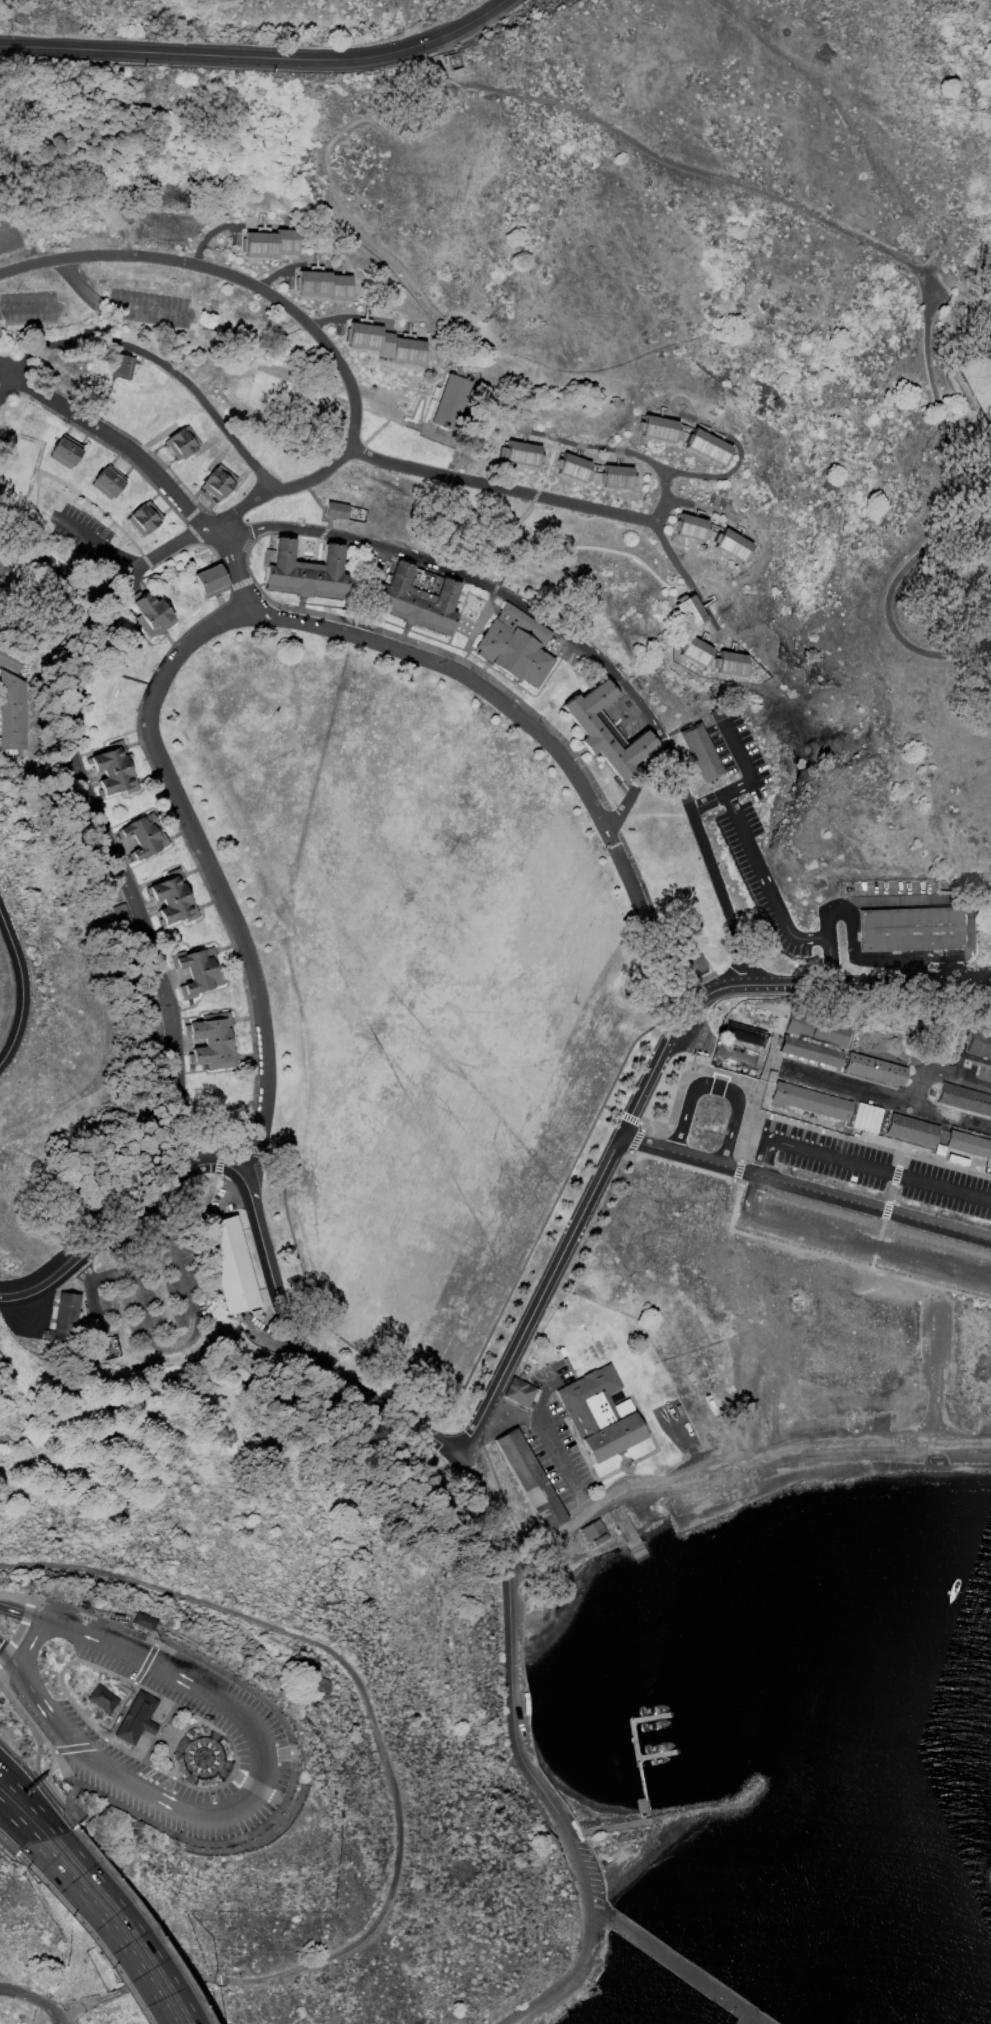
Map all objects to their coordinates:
road: (261, 57)
road: (336, 202)
road: (8, 230)
parking lot: (9, 233)
building: (271, 244)
road: (899, 258)
road: (229, 274)
road: (78, 284)
building: (326, 286)
parking lot: (146, 305)
parking lot: (28, 306)
road: (29, 306)
road: (145, 310)
road: (949, 317)
building: (388, 345)
building: (175, 355)
road: (159, 365)
building: (124, 367)
building: (977, 382)
road: (9, 384)
road: (370, 394)
road: (423, 395)
parking lot: (387, 403)
building: (456, 404)
road: (399, 416)
road: (394, 418)
road: (424, 427)
building: (661, 428)
building: (182, 443)
road: (116, 444)
building: (711, 447)
road: (621, 450)
building: (66, 454)
building: (525, 454)
building: (577, 467)
road: (414, 471)
building: (620, 476)
building: (106, 480)
building: (220, 483)
building: (335, 509)
building: (144, 518)
building: (689, 526)
road: (99, 538)
building: (731, 544)
road: (669, 551)
road: (137, 569)
building: (306, 573)
road: (236, 576)
road: (473, 580)
building: (213, 581)
building: (419, 602)
building: (687, 610)
building: (151, 612)
road: (36, 623)
building: (515, 643)
building: (693, 650)
building: (10, 661)
building: (730, 662)
road: (113, 673)
building: (12, 713)
road: (539, 732)
building: (607, 733)
building: (704, 754)
road: (748, 769)
building: (114, 771)
road: (637, 793)
building: (144, 838)
road: (708, 865)
road: (210, 874)
road: (132, 892)
building: (173, 899)
road: (772, 903)
building: (911, 931)
building: (691, 963)
building: (198, 973)
road: (854, 981)
road: (23, 985)
building: (151, 1023)
building: (744, 1035)
building: (815, 1041)
building: (980, 1043)
building: (209, 1045)
building: (877, 1071)
road: (721, 1087)
road: (760, 1096)
building: (964, 1100)
building: (811, 1103)
building: (865, 1116)
building: (913, 1132)
building: (969, 1146)
parking lot: (826, 1153)
road: (222, 1166)
road: (759, 1184)
road: (806, 1187)
parking lot: (949, 1188)
road: (890, 1209)
road: (582, 1218)
parking lot: (866, 1242)
road: (98, 1246)
building: (229, 1263)
road: (186, 1304)
road: (90, 1307)
building: (62, 1318)
park: (589, 1343)
parking lot: (934, 1346)
building: (561, 1350)
road: (314, 1354)
building: (523, 1367)
park: (547, 1369)
parking lot: (550, 1374)
road: (935, 1374)
building: (519, 1375)
park: (660, 1375)
building: (517, 1390)
building: (536, 1390)
road: (540, 1394)
building: (530, 1401)
building: (600, 1413)
road: (513, 1414)
parking lot: (677, 1425)
road: (650, 1433)
road: (687, 1441)
road: (579, 1442)
road: (623, 1454)
parking lot: (809, 1454)
parking lot: (560, 1458)
road: (565, 1462)
road: (738, 1463)
flagpole: (628, 1464)
road: (632, 1470)
flagpole: (658, 1472)
road: (609, 1474)
building: (528, 1477)
road: (500, 1492)
road: (486, 1513)
road: (627, 1526)
building: (592, 1530)
road: (513, 1608)
road: (12, 1610)
road: (24, 1615)
building: (143, 1620)
road: (46, 1622)
road: (29, 1646)
road: (2, 1648)
road: (149, 1656)
road: (86, 1663)
road: (20, 1671)
road: (516, 1692)
building: (102, 1698)
road: (363, 1698)
road: (26, 1711)
pier: (650, 1716)
building: (136, 1718)
parking lot: (244, 1722)
pier: (634, 1738)
road: (38, 1745)
road: (216, 1747)
pier: (656, 1754)
road: (63, 1769)
road: (143, 1775)
road: (640, 1776)
road: (7, 1777)
road: (47, 1779)
road: (7, 1780)
road: (75, 1783)
road: (164, 1785)
road: (292, 1785)
road: (255, 1789)
road: (92, 1791)
road: (68, 1799)
building: (638, 1804)
road: (707, 1807)
road: (36, 1809)
pier: (642, 1817)
road: (14, 1818)
road: (70, 1819)
road: (14, 1824)
road: (31, 1836)
road: (605, 1838)
road: (7, 1844)
parking lot: (590, 1870)
road: (586, 1889)
road: (145, 1923)
road: (125, 1924)
road: (101, 1926)
road: (81, 1933)
pier: (677, 1964)
pier: (699, 1968)
road: (136, 1984)
road: (35, 1998)

